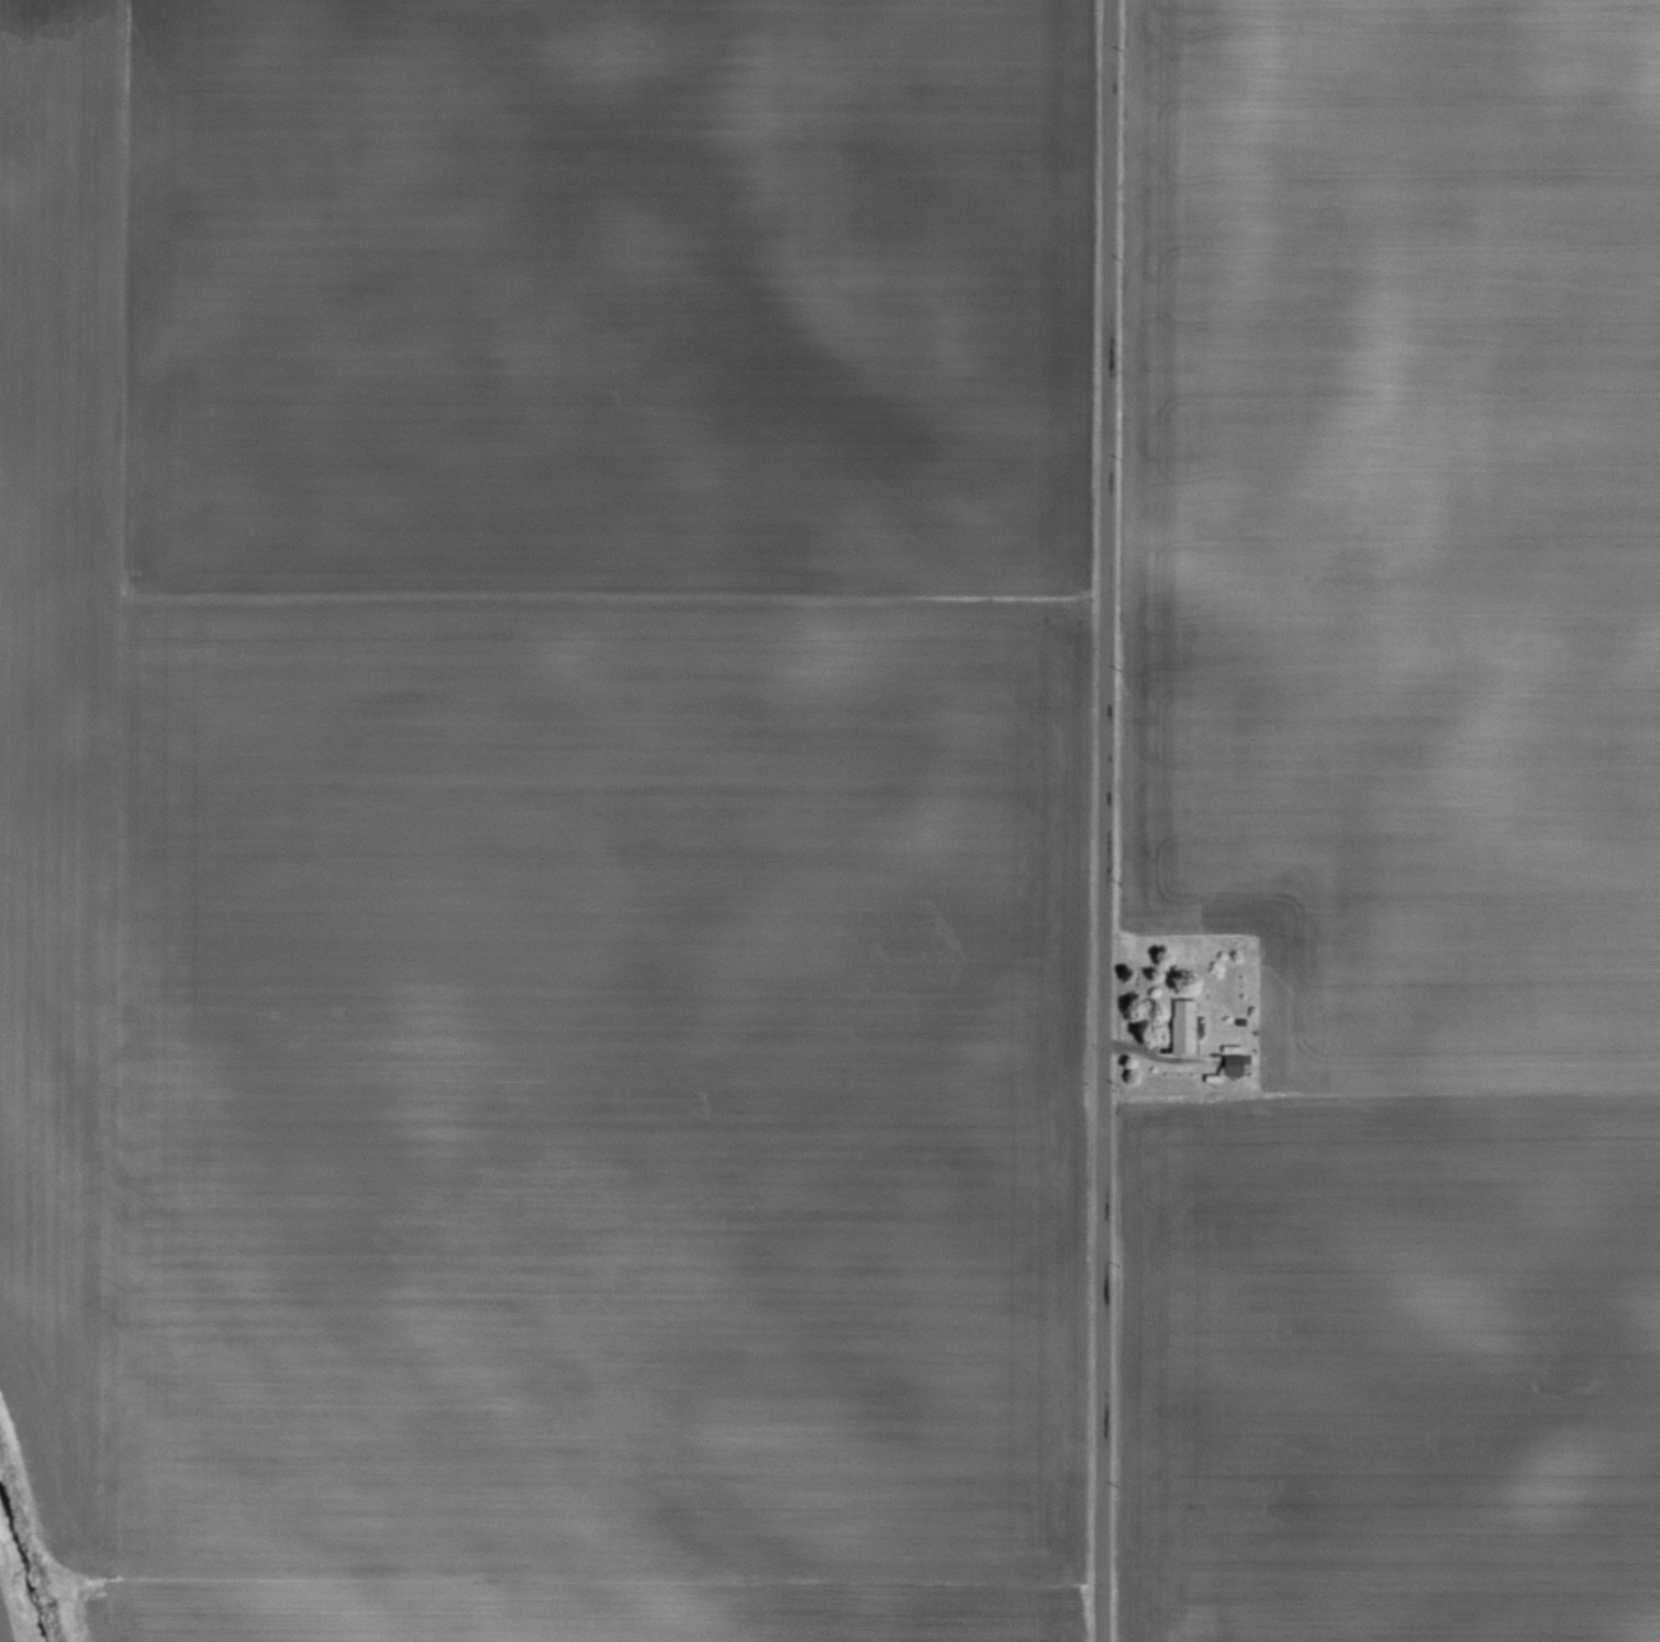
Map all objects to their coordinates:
road: (1100, 820)
building: (1183, 1023)

